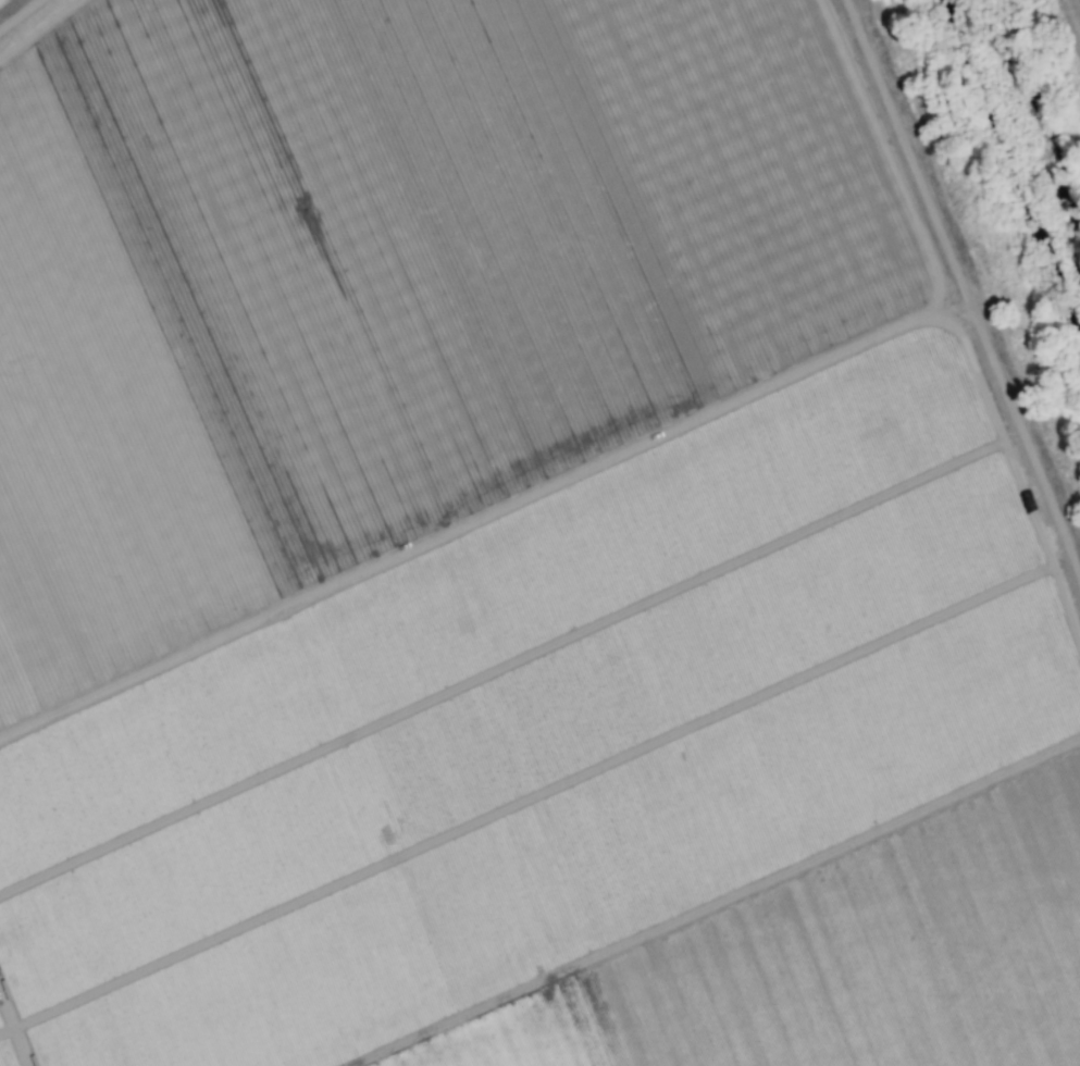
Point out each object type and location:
river: (1023, 142)
crop: (523, 460)
crop: (638, 958)

